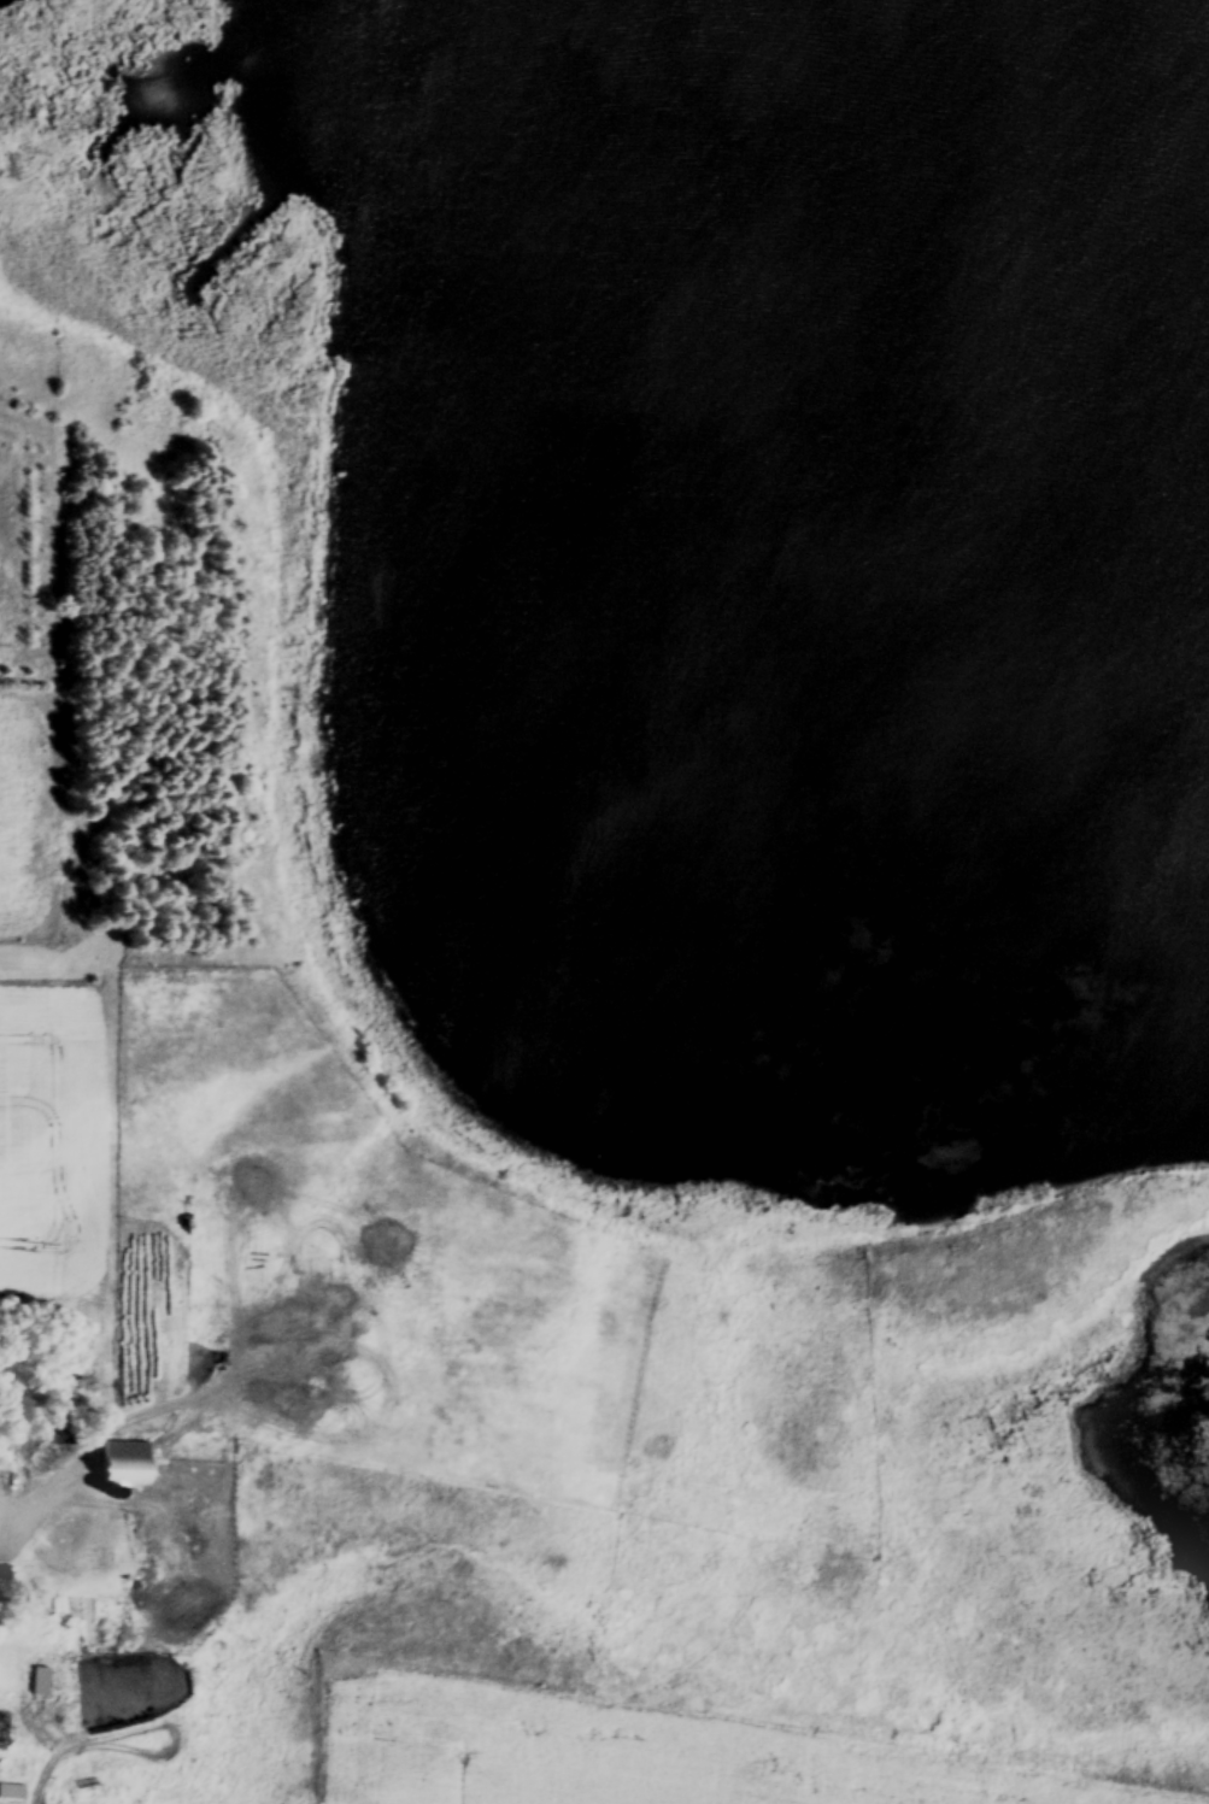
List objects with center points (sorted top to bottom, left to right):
power tower: (171, 1007)
power tower: (483, 1267)
building: (128, 1458)
road: (46, 1506)
power tower: (797, 1532)

